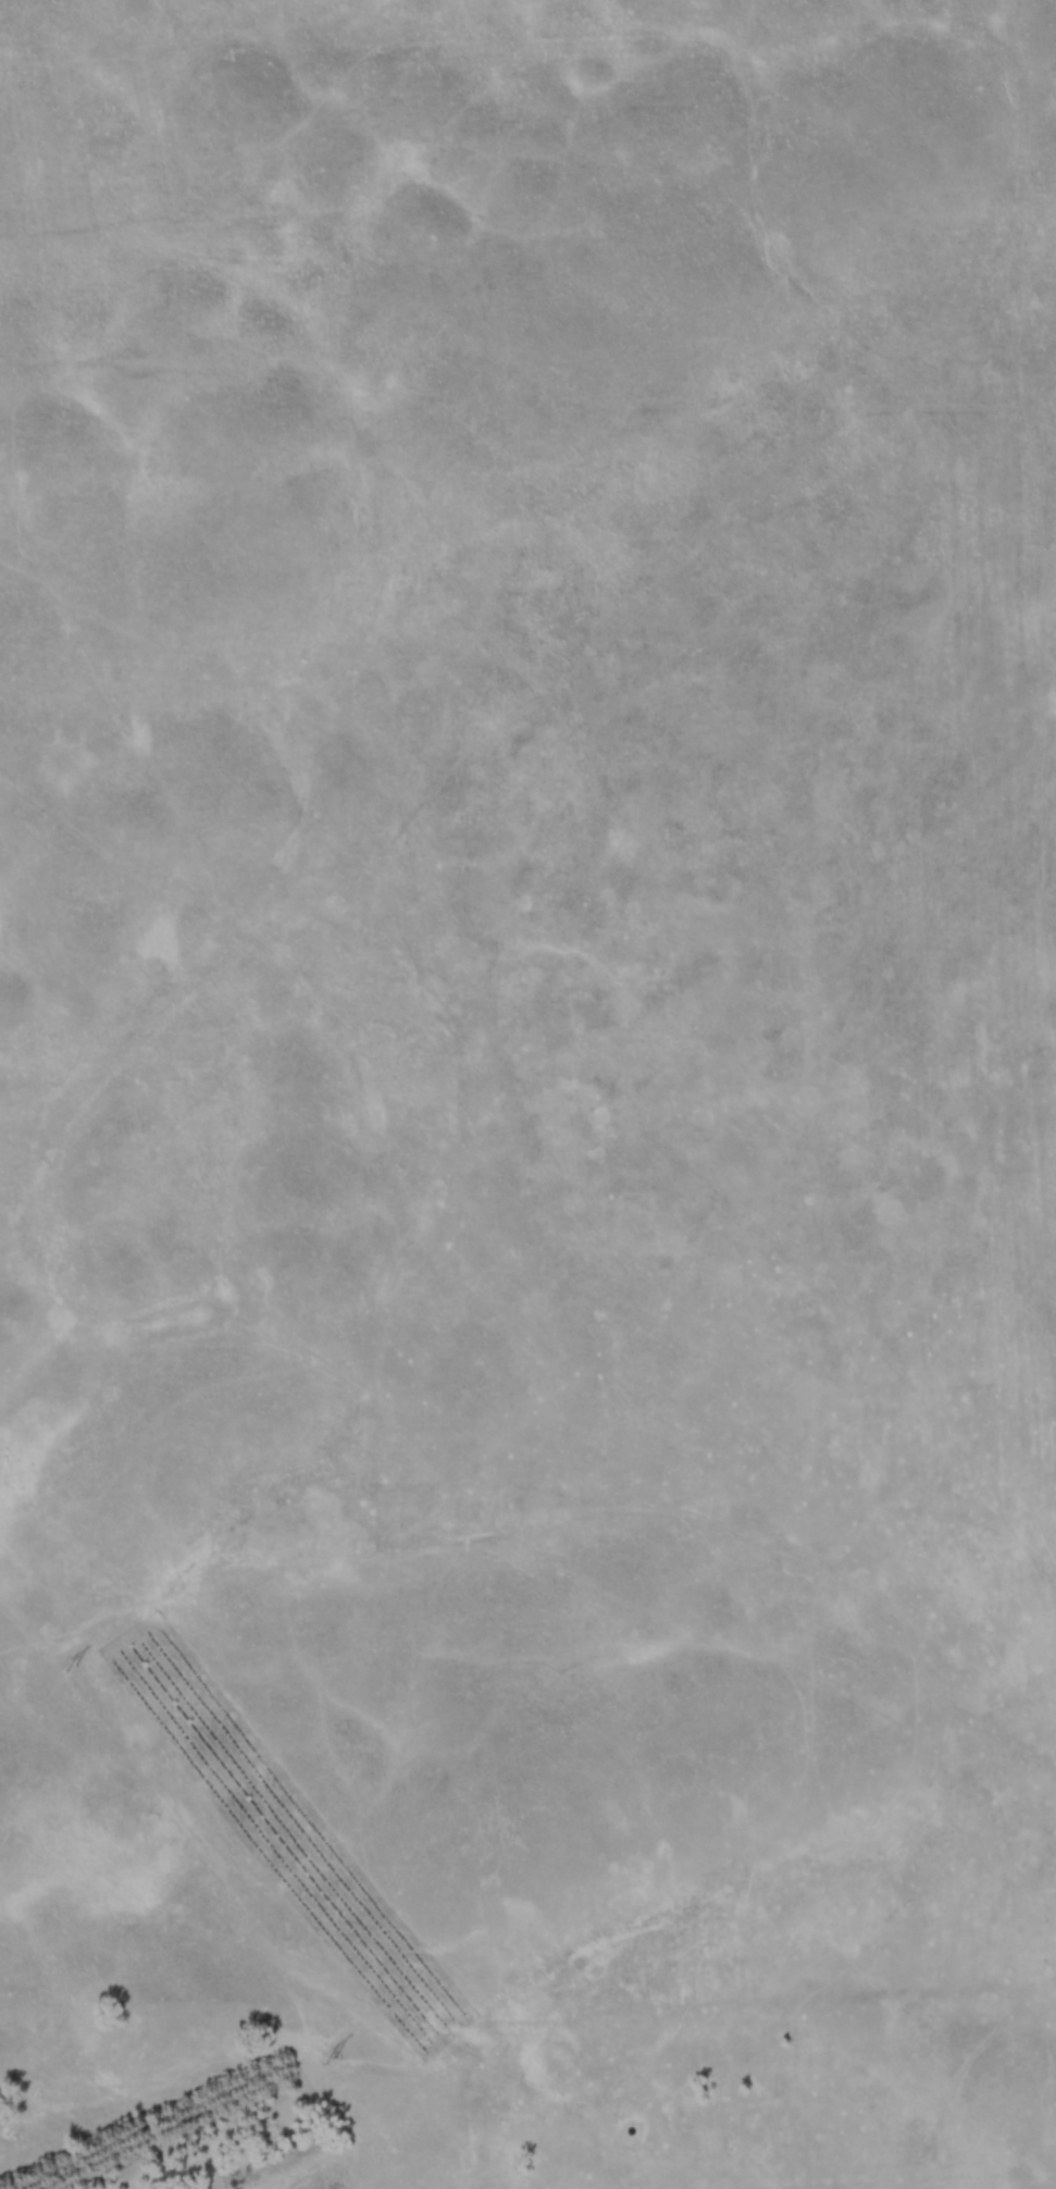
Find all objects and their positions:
power tower: (75, 1666)
power tower: (335, 2058)

